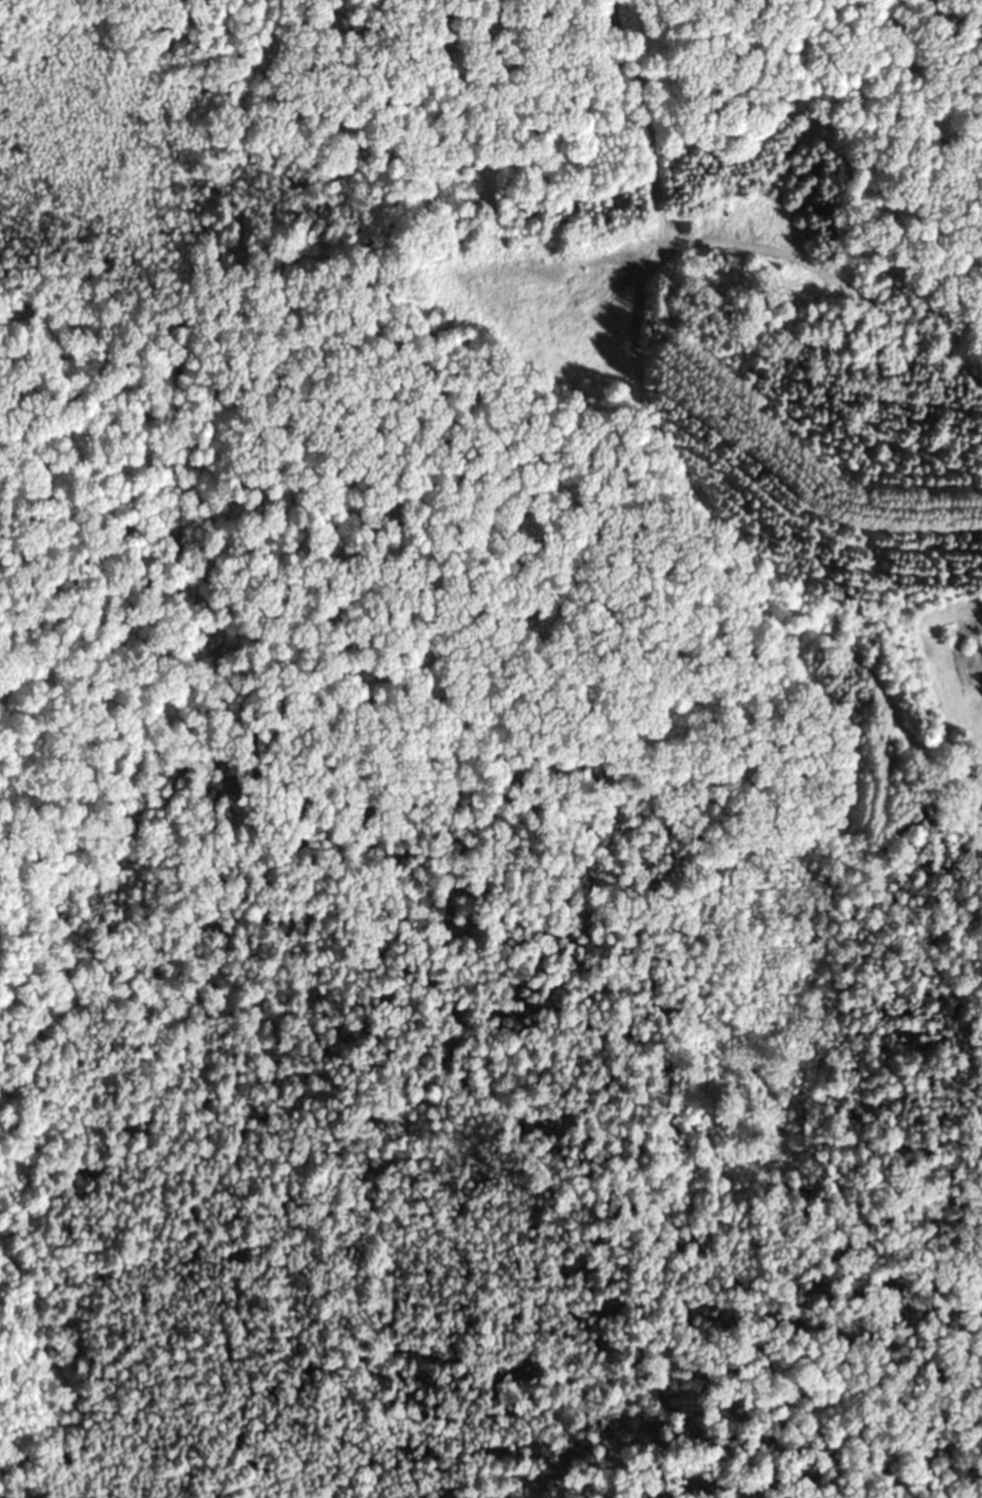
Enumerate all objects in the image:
road: (659, 459)
building: (976, 767)

